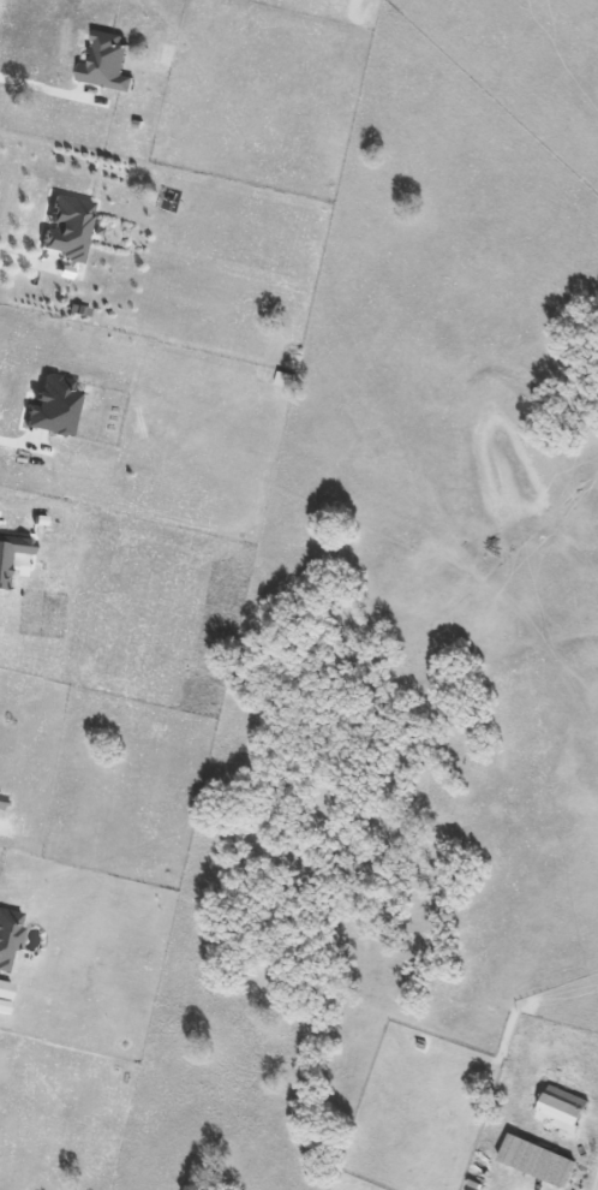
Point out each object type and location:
building: (104, 63)
road: (40, 90)
building: (52, 405)
road: (16, 447)
building: (11, 551)
building: (6, 936)
building: (4, 989)
building: (561, 1108)
building: (536, 1160)
road: (597, 1185)

